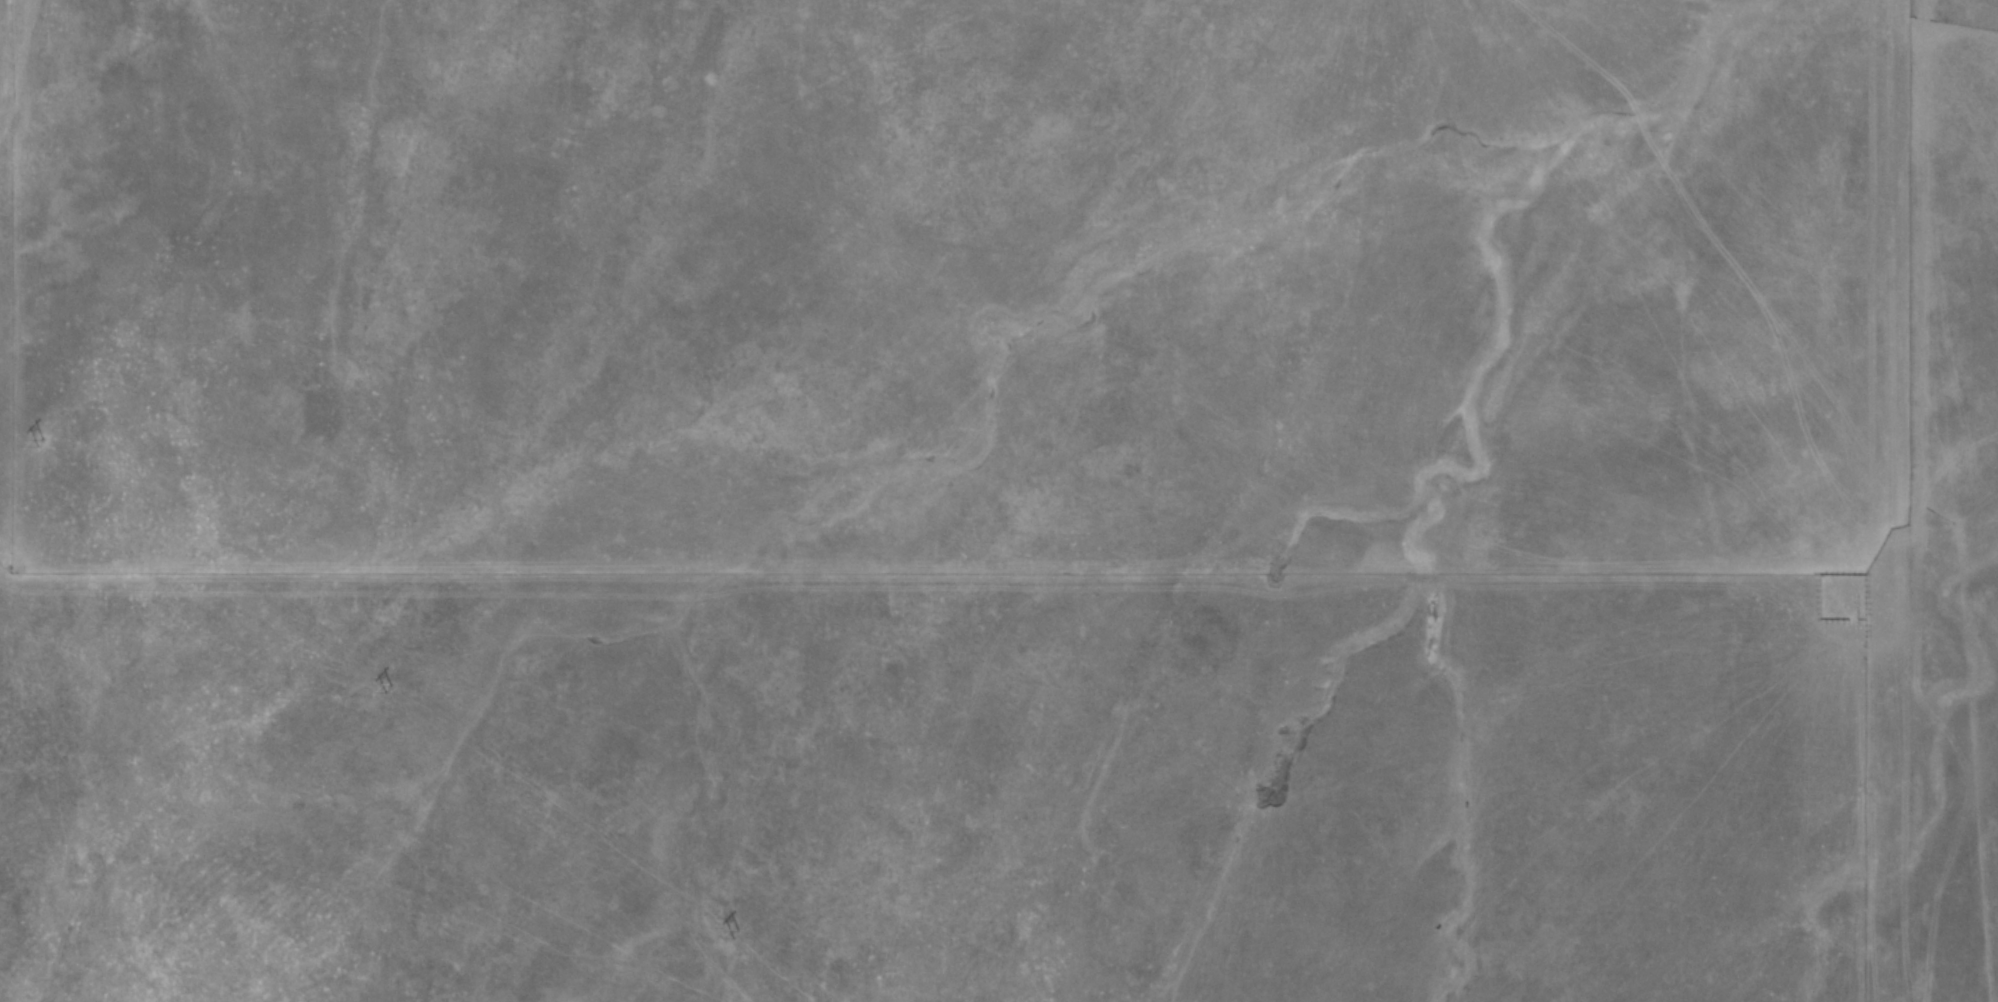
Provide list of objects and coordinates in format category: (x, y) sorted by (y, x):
power tower: (38, 443)
power tower: (386, 688)
power tower: (733, 933)

